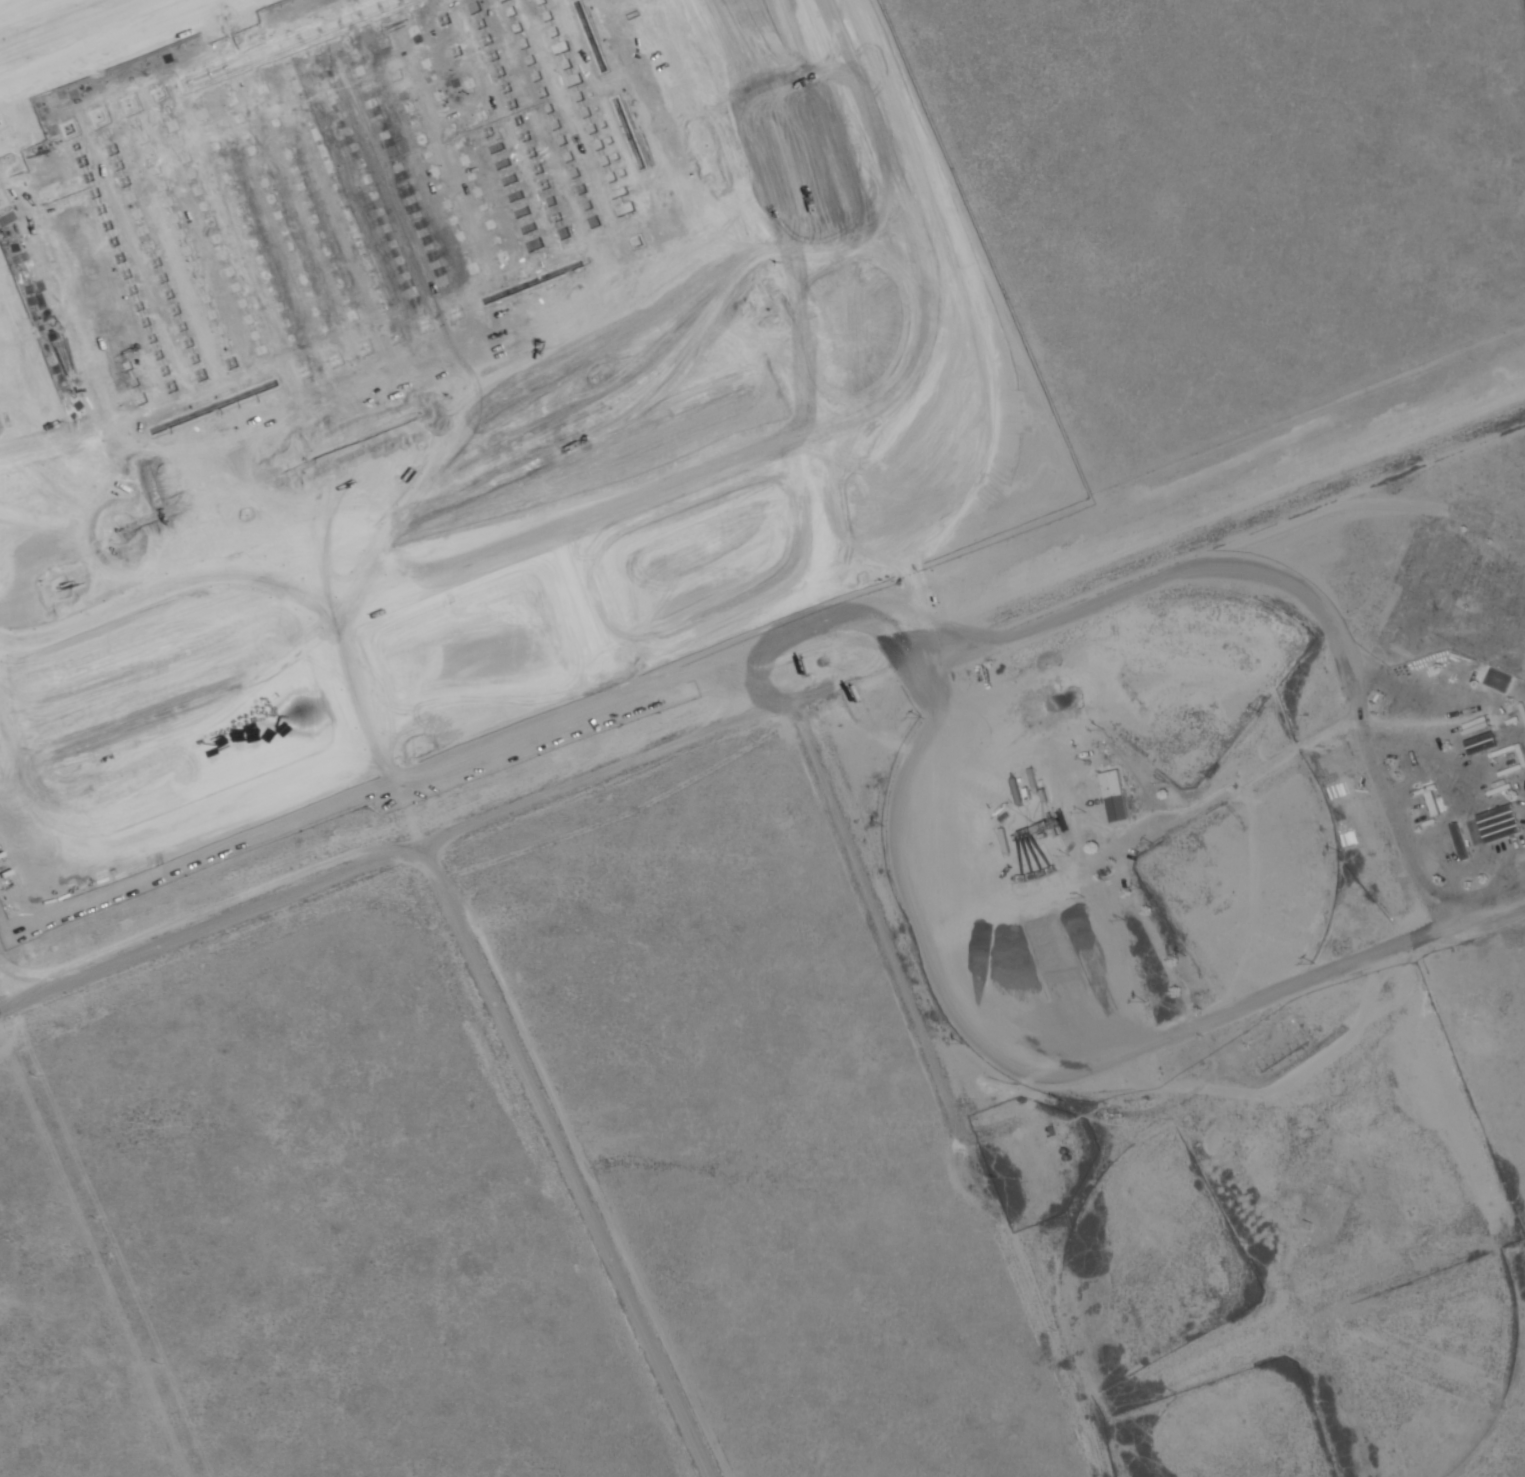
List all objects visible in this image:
road: (47, 18)
parking lot: (92, 36)
road: (880, 111)
road: (715, 177)
road: (802, 179)
road: (762, 194)
building: (338, 212)
road: (1089, 213)
road: (874, 237)
road: (633, 290)
road: (589, 349)
road: (712, 388)
parking lot: (27, 400)
road: (672, 405)
road: (420, 416)
road: (869, 416)
road: (598, 434)
road: (9, 440)
road: (792, 445)
road: (563, 448)
road: (245, 485)
road: (124, 491)
road: (449, 492)
parking lot: (400, 504)
road: (1071, 528)
road: (336, 536)
road: (301, 551)
road: (387, 603)
road: (972, 615)
road: (586, 622)
road: (245, 627)
road: (337, 640)
road: (206, 643)
road: (172, 656)
road: (131, 672)
road: (97, 686)
road: (367, 691)
building: (357, 699)
road: (58, 701)
road: (346, 701)
road: (16, 750)
road: (389, 764)
road: (230, 776)
building: (1113, 796)
road: (413, 820)
road: (309, 828)
road: (12, 885)
road: (213, 932)
road: (1297, 982)
road: (8, 991)
road: (572, 1162)
building: (1339, 1208)

